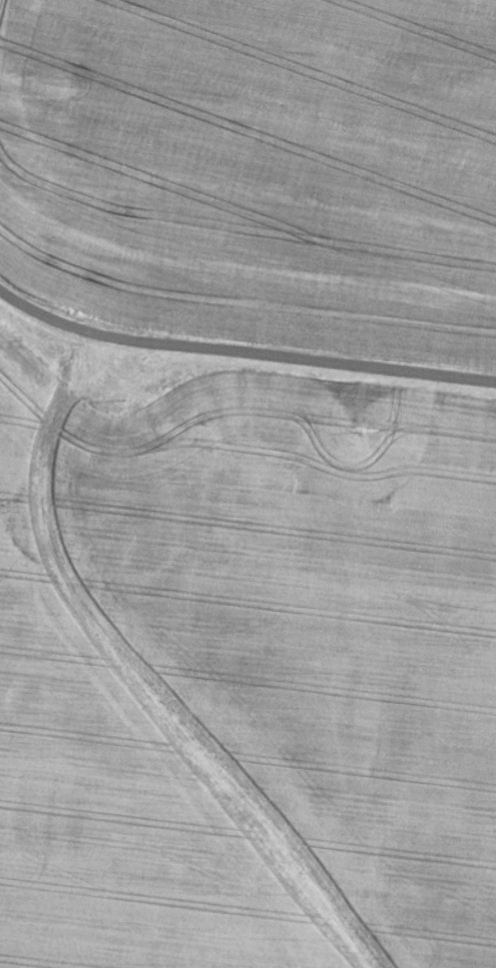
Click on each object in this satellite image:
road: (243, 356)

